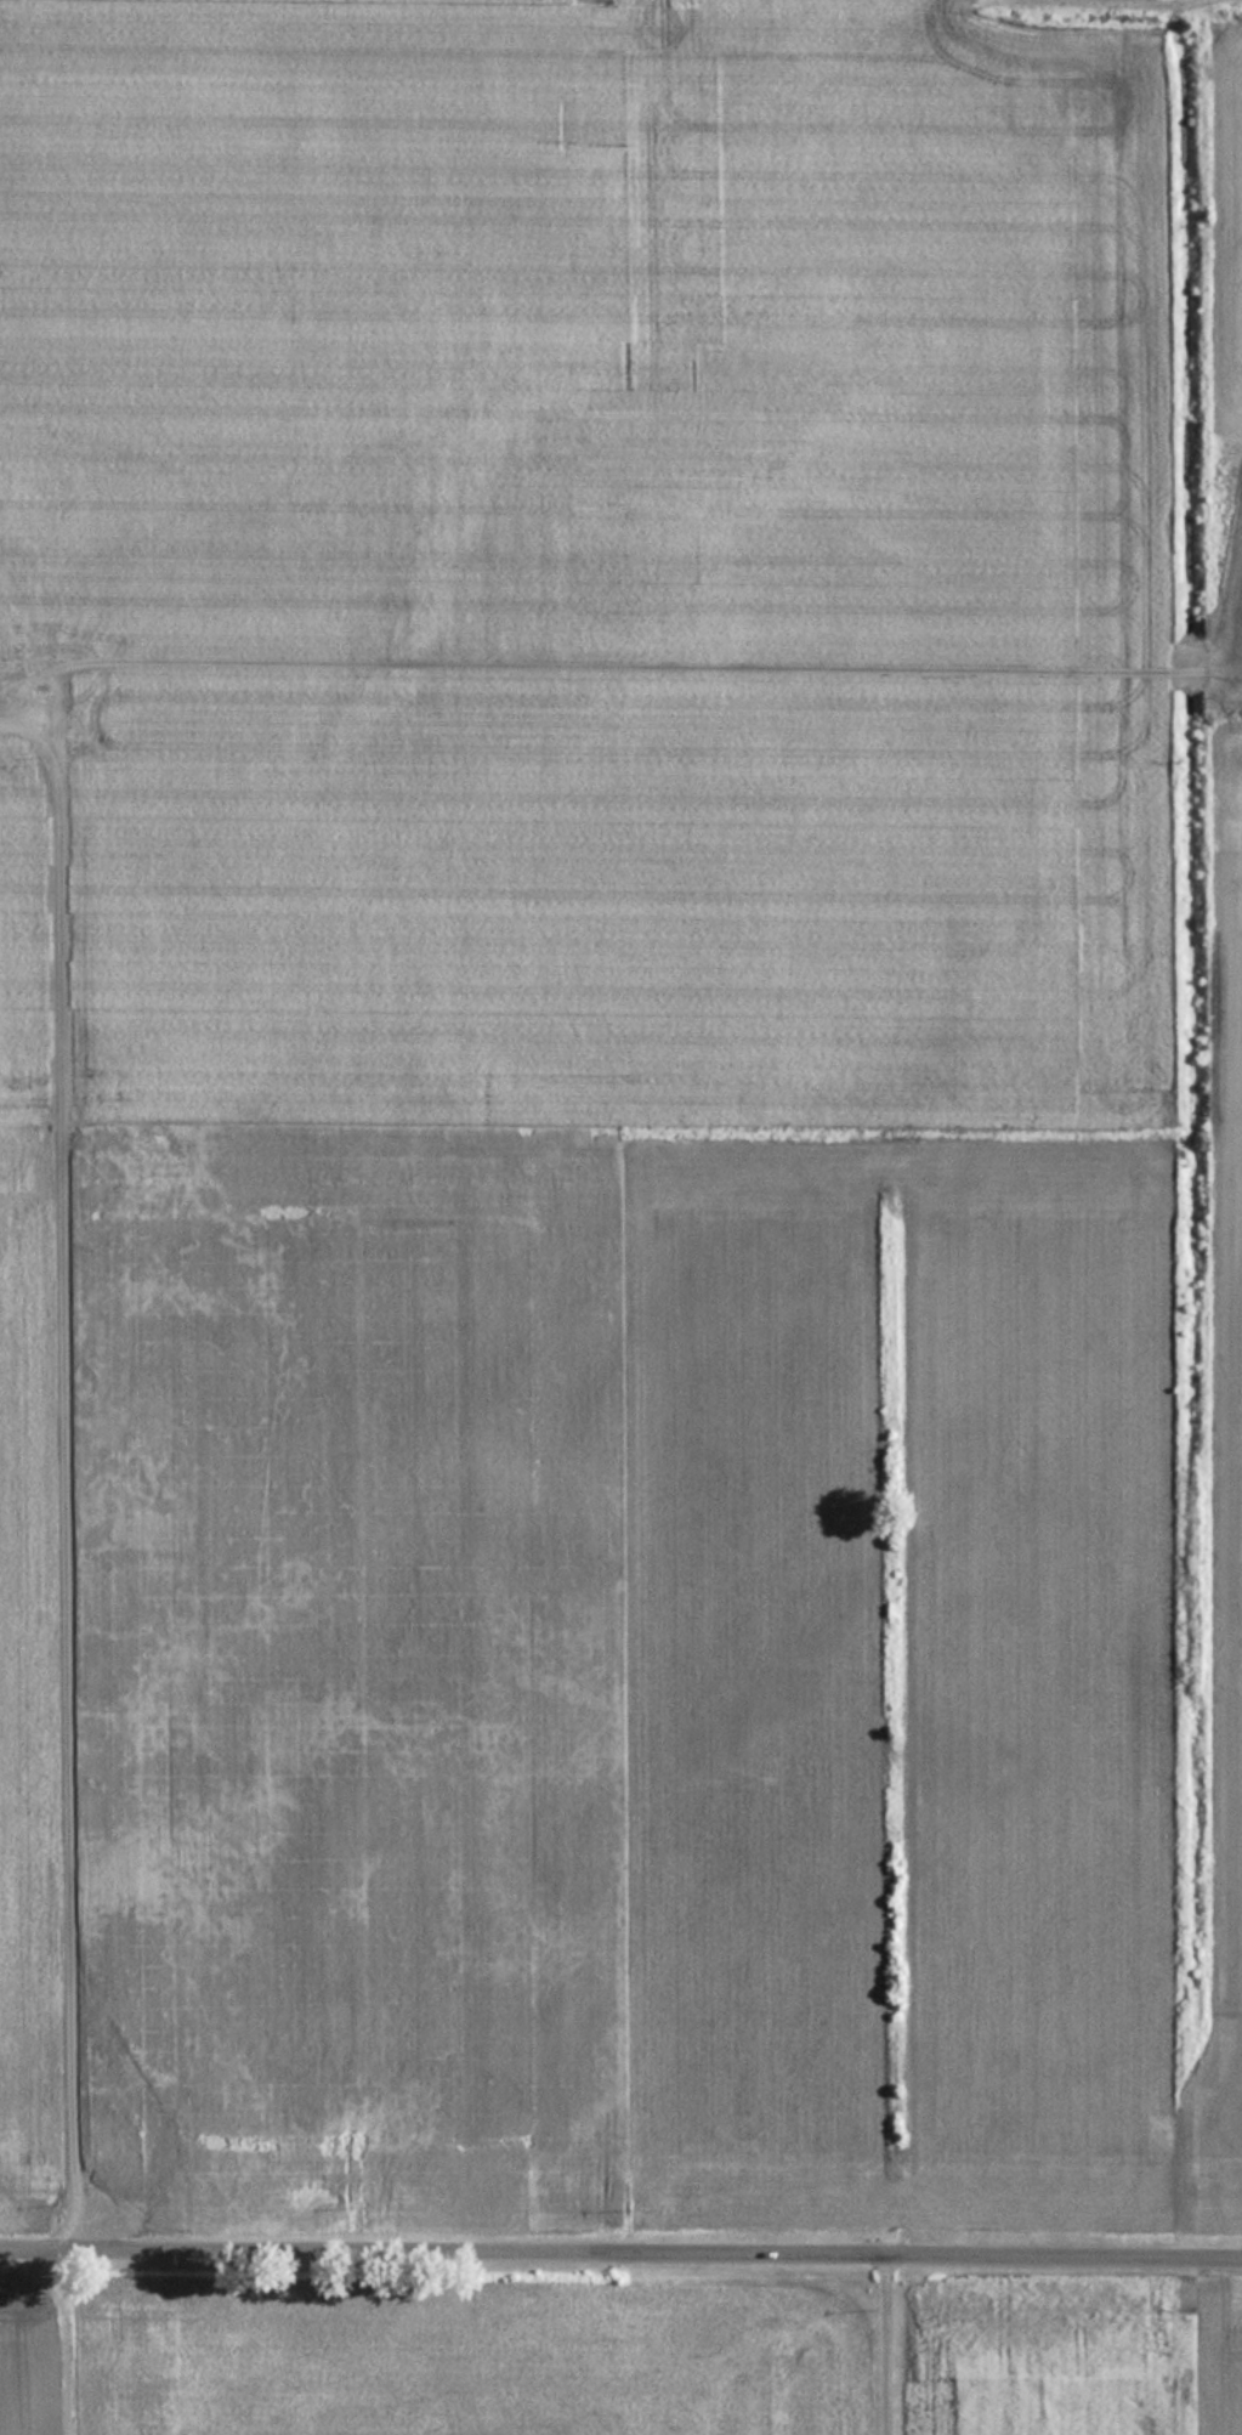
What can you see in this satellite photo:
road: (620, 2258)
road: (69, 2344)

